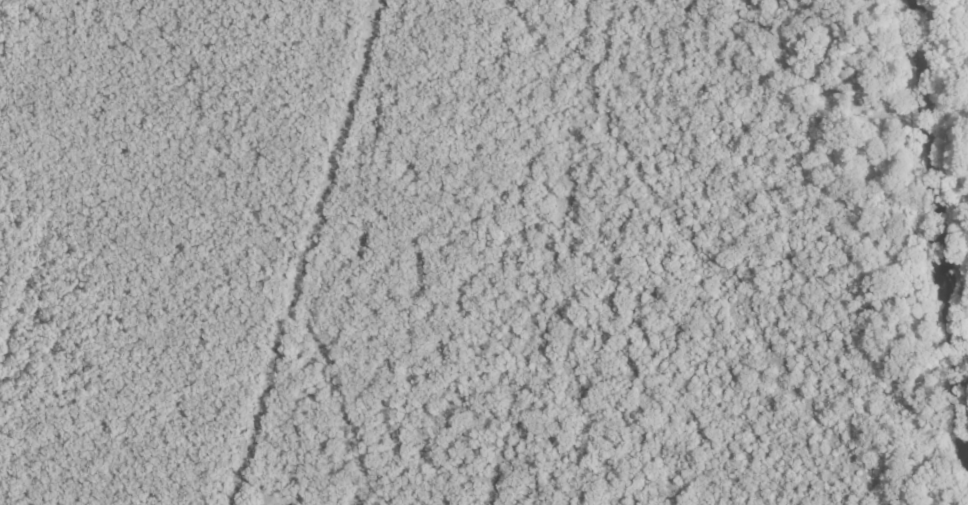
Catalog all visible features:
river: (929, 249)

